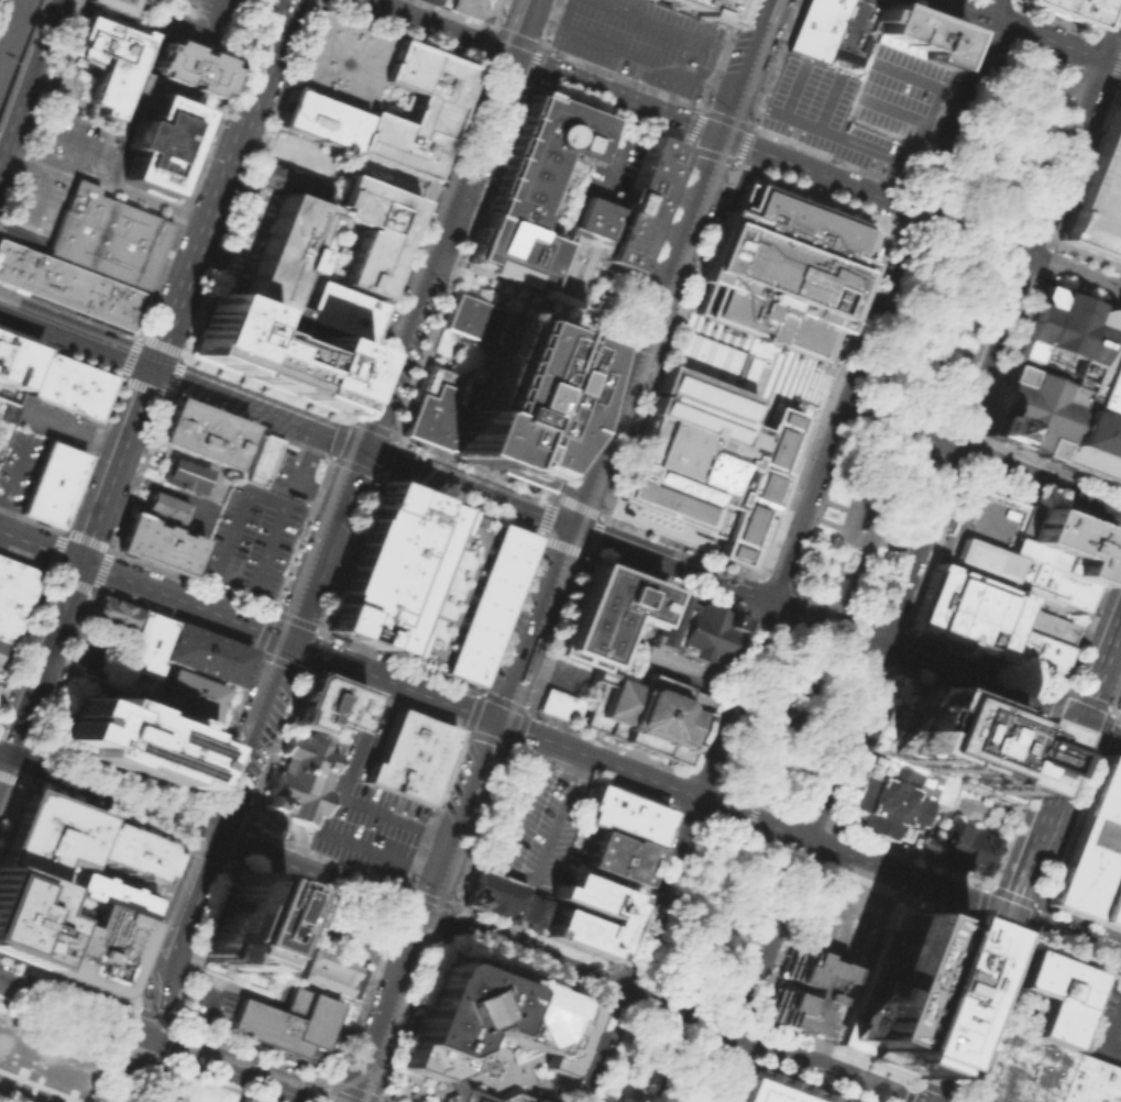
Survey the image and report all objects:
building: (141, 0)
road: (314, 0)
road: (316, 0)
parking lot: (442, 2)
building: (116, 4)
road: (386, 4)
building: (474, 7)
building: (707, 9)
road: (997, 9)
road: (1010, 9)
building: (1071, 9)
road: (422, 10)
road: (163, 11)
road: (565, 13)
road: (468, 18)
road: (212, 20)
parking lot: (198, 22)
road: (1069, 23)
road: (657, 24)
building: (815, 26)
road: (855, 29)
road: (969, 30)
road: (1002, 31)
road: (397, 33)
parking lot: (853, 33)
road: (1034, 33)
road: (1097, 33)
building: (919, 34)
road: (514, 36)
road: (12, 37)
parking lot: (640, 41)
road: (484, 45)
traffic signals: (508, 56)
road: (1040, 56)
road: (1118, 56)
building: (110, 57)
building: (343, 59)
road: (1085, 63)
road: (532, 64)
building: (190, 66)
road: (491, 69)
road: (1088, 75)
road: (28, 76)
road: (514, 78)
road: (649, 87)
road: (653, 87)
road: (832, 90)
road: (1044, 90)
road: (729, 91)
road: (936, 92)
road: (1024, 93)
road: (946, 102)
road: (40, 103)
parking lot: (857, 107)
building: (409, 108)
road: (606, 112)
road: (659, 112)
road: (905, 113)
road: (724, 115)
building: (321, 119)
road: (968, 121)
road: (692, 124)
building: (846, 125)
road: (1001, 126)
road: (767, 130)
building: (160, 132)
traffic signals: (719, 136)
parking lot: (73, 137)
road: (77, 139)
road: (615, 142)
road: (741, 143)
road: (1012, 152)
road: (1051, 152)
road: (710, 153)
building: (304, 154)
road: (1000, 159)
building: (543, 165)
road: (198, 167)
road: (42, 176)
road: (886, 176)
road: (250, 178)
road: (882, 178)
road: (105, 181)
building: (293, 183)
road: (991, 183)
road: (100, 185)
road: (219, 185)
road: (424, 189)
road: (906, 190)
building: (1097, 190)
road: (814, 192)
parking lot: (36, 198)
road: (978, 216)
road: (443, 224)
building: (608, 224)
road: (970, 228)
road: (909, 229)
building: (371, 231)
road: (970, 232)
road: (968, 234)
building: (107, 235)
road: (23, 236)
road: (1033, 236)
road: (413, 241)
road: (1012, 246)
building: (270, 247)
road: (966, 250)
building: (510, 252)
road: (1085, 255)
road: (460, 260)
road: (1042, 260)
building: (782, 269)
road: (1021, 271)
road: (1081, 273)
road: (1037, 278)
road: (609, 280)
building: (68, 286)
road: (520, 297)
road: (1091, 298)
road: (67, 309)
building: (337, 310)
road: (590, 310)
road: (893, 312)
road: (652, 315)
road: (939, 319)
road: (624, 322)
road: (922, 323)
road: (946, 333)
road: (668, 339)
road: (932, 340)
road: (74, 341)
road: (158, 345)
road: (978, 345)
building: (275, 352)
road: (59, 353)
road: (127, 355)
road: (778, 355)
road: (1005, 356)
building: (15, 360)
road: (744, 364)
railway: (367, 367)
traffic signals: (149, 370)
road: (769, 372)
road: (175, 374)
road: (714, 375)
road: (752, 375)
building: (1080, 375)
railway: (646, 378)
road: (766, 379)
building: (69, 383)
road: (366, 384)
road: (749, 384)
road: (143, 385)
road: (849, 385)
road: (264, 386)
road: (762, 388)
road: (637, 393)
building: (499, 395)
road: (827, 399)
road: (762, 400)
road: (906, 408)
road: (253, 409)
building: (1030, 410)
building: (6, 417)
road: (344, 417)
parking lot: (53, 420)
road: (834, 422)
road: (249, 425)
road: (897, 426)
road: (899, 429)
road: (74, 430)
road: (963, 430)
building: (200, 431)
road: (381, 431)
road: (890, 444)
road: (333, 449)
traffic signals: (359, 450)
road: (968, 452)
road: (89, 453)
building: (256, 455)
road: (386, 455)
building: (707, 459)
road: (1048, 462)
road: (354, 465)
road: (948, 465)
parking lot: (17, 466)
road: (474, 466)
road: (138, 472)
building: (184, 474)
road: (12, 475)
railway: (598, 476)
road: (298, 478)
road: (1036, 481)
building: (50, 484)
road: (976, 488)
road: (166, 489)
road: (464, 489)
road: (263, 497)
flagpole: (994, 498)
road: (965, 499)
flagpole: (1000, 500)
road: (1041, 502)
flagpole: (1007, 503)
road: (459, 505)
building: (165, 507)
road: (817, 507)
road: (550, 508)
road: (589, 509)
road: (865, 514)
road: (30, 519)
road: (847, 519)
road: (870, 527)
road: (944, 527)
traffic signals: (571, 530)
road: (300, 532)
road: (857, 533)
road: (224, 538)
road: (953, 538)
road: (84, 540)
road: (905, 540)
road: (938, 541)
building: (1071, 542)
building: (158, 543)
parking lot: (249, 544)
road: (680, 544)
road: (322, 546)
road: (616, 547)
road: (932, 550)
road: (562, 551)
road: (264, 552)
road: (349, 552)
road: (913, 555)
road: (787, 560)
traffic signals: (76, 562)
road: (75, 563)
building: (389, 567)
building: (993, 577)
road: (190, 580)
road: (773, 581)
road: (714, 584)
road: (756, 586)
road: (143, 587)
park: (837, 587)
railway: (297, 588)
building: (13, 596)
building: (464, 596)
road: (202, 597)
road: (832, 603)
building: (605, 610)
road: (1090, 610)
building: (112, 611)
road: (242, 611)
road: (507, 613)
road: (295, 620)
road: (822, 620)
road: (889, 625)
road: (1119, 632)
road: (817, 640)
building: (691, 641)
road: (898, 641)
building: (0, 642)
traffic signals: (286, 642)
building: (144, 643)
road: (257, 652)
building: (206, 653)
building: (1035, 654)
road: (981, 659)
road: (398, 660)
road: (549, 668)
road: (945, 671)
road: (1101, 672)
building: (196, 692)
road: (1115, 696)
road: (967, 697)
building: (325, 703)
building: (559, 704)
road: (744, 704)
road: (791, 709)
road: (1115, 712)
building: (645, 713)
road: (773, 714)
traffic signals: (499, 723)
road: (795, 723)
traffic signals: (1081, 724)
road: (784, 727)
road: (226, 729)
road: (831, 737)
road: (248, 739)
building: (948, 742)
building: (132, 745)
road: (859, 746)
road: (1109, 752)
road: (1, 757)
building: (408, 757)
traffic signals: (2, 758)
road: (1, 760)
building: (298, 779)
road: (647, 779)
road: (212, 784)
road: (343, 792)
road: (757, 798)
railway: (204, 800)
building: (882, 800)
road: (1014, 806)
road: (197, 807)
parking lot: (369, 808)
road: (246, 811)
building: (623, 813)
road: (748, 815)
road: (1045, 819)
road: (275, 822)
parking lot: (532, 824)
road: (1066, 825)
road: (744, 834)
traffic signals: (211, 837)
building: (46, 839)
building: (915, 839)
road: (297, 841)
building: (964, 847)
building: (131, 850)
building: (1092, 851)
road: (380, 852)
road: (906, 853)
building: (617, 857)
road: (513, 874)
road: (892, 893)
road: (1010, 893)
building: (112, 894)
building: (493, 894)
road: (670, 897)
road: (978, 903)
road: (716, 905)
road: (701, 908)
building: (531, 911)
building: (611, 912)
building: (28, 915)
traffic signals: (1009, 916)
building: (240, 917)
traffic signals: (424, 917)
road: (722, 918)
road: (1078, 918)
road: (1027, 921)
road: (710, 924)
building: (353, 925)
road: (455, 929)
road: (757, 930)
road: (997, 932)
road: (174, 935)
road: (333, 937)
road: (1064, 937)
road: (437, 943)
road: (783, 943)
building: (94, 944)
road: (1070, 959)
road: (419, 969)
building: (326, 970)
road: (223, 984)
railway: (416, 984)
building: (901, 984)
building: (801, 990)
road: (682, 994)
building: (1051, 994)
road: (210, 999)
road: (623, 1003)
road: (944, 1003)
railway: (398, 1005)
road: (68, 1006)
road: (974, 1009)
road: (674, 1011)
road: (306, 1016)
road: (991, 1020)
building: (286, 1022)
building: (491, 1022)
road: (410, 1023)
parking lot: (1107, 1027)
road: (1112, 1027)
road: (669, 1029)
traffic signals: (138, 1033)
road: (353, 1034)
road: (134, 1044)
building: (19, 1050)
road: (184, 1050)
road: (835, 1053)
road: (611, 1054)
road: (642, 1062)
fountain: (490, 1067)
road: (666, 1067)
building: (1020, 1069)
building: (65, 1070)
road: (702, 1073)
road: (123, 1079)
railway: (371, 1080)
building: (1090, 1081)
railway: (347, 1082)
road: (275, 1084)
fountain: (553, 1088)
building: (771, 1089)
railway: (326, 1093)
road: (620, 1093)
road: (369, 1097)
building: (245, 1100)
road: (961, 1100)
road: (966, 1100)

